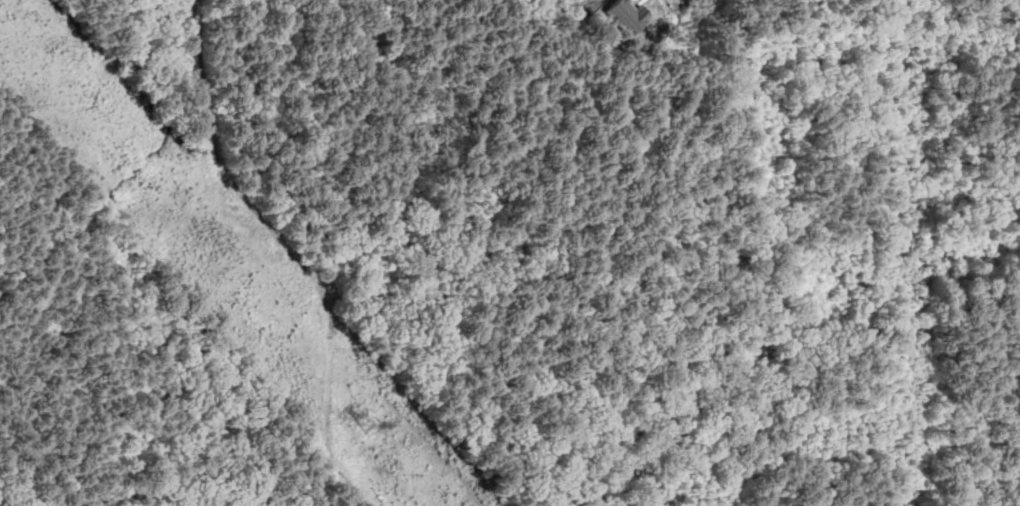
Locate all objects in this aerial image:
road: (679, 2)
road: (665, 5)
power tower: (367, 426)

